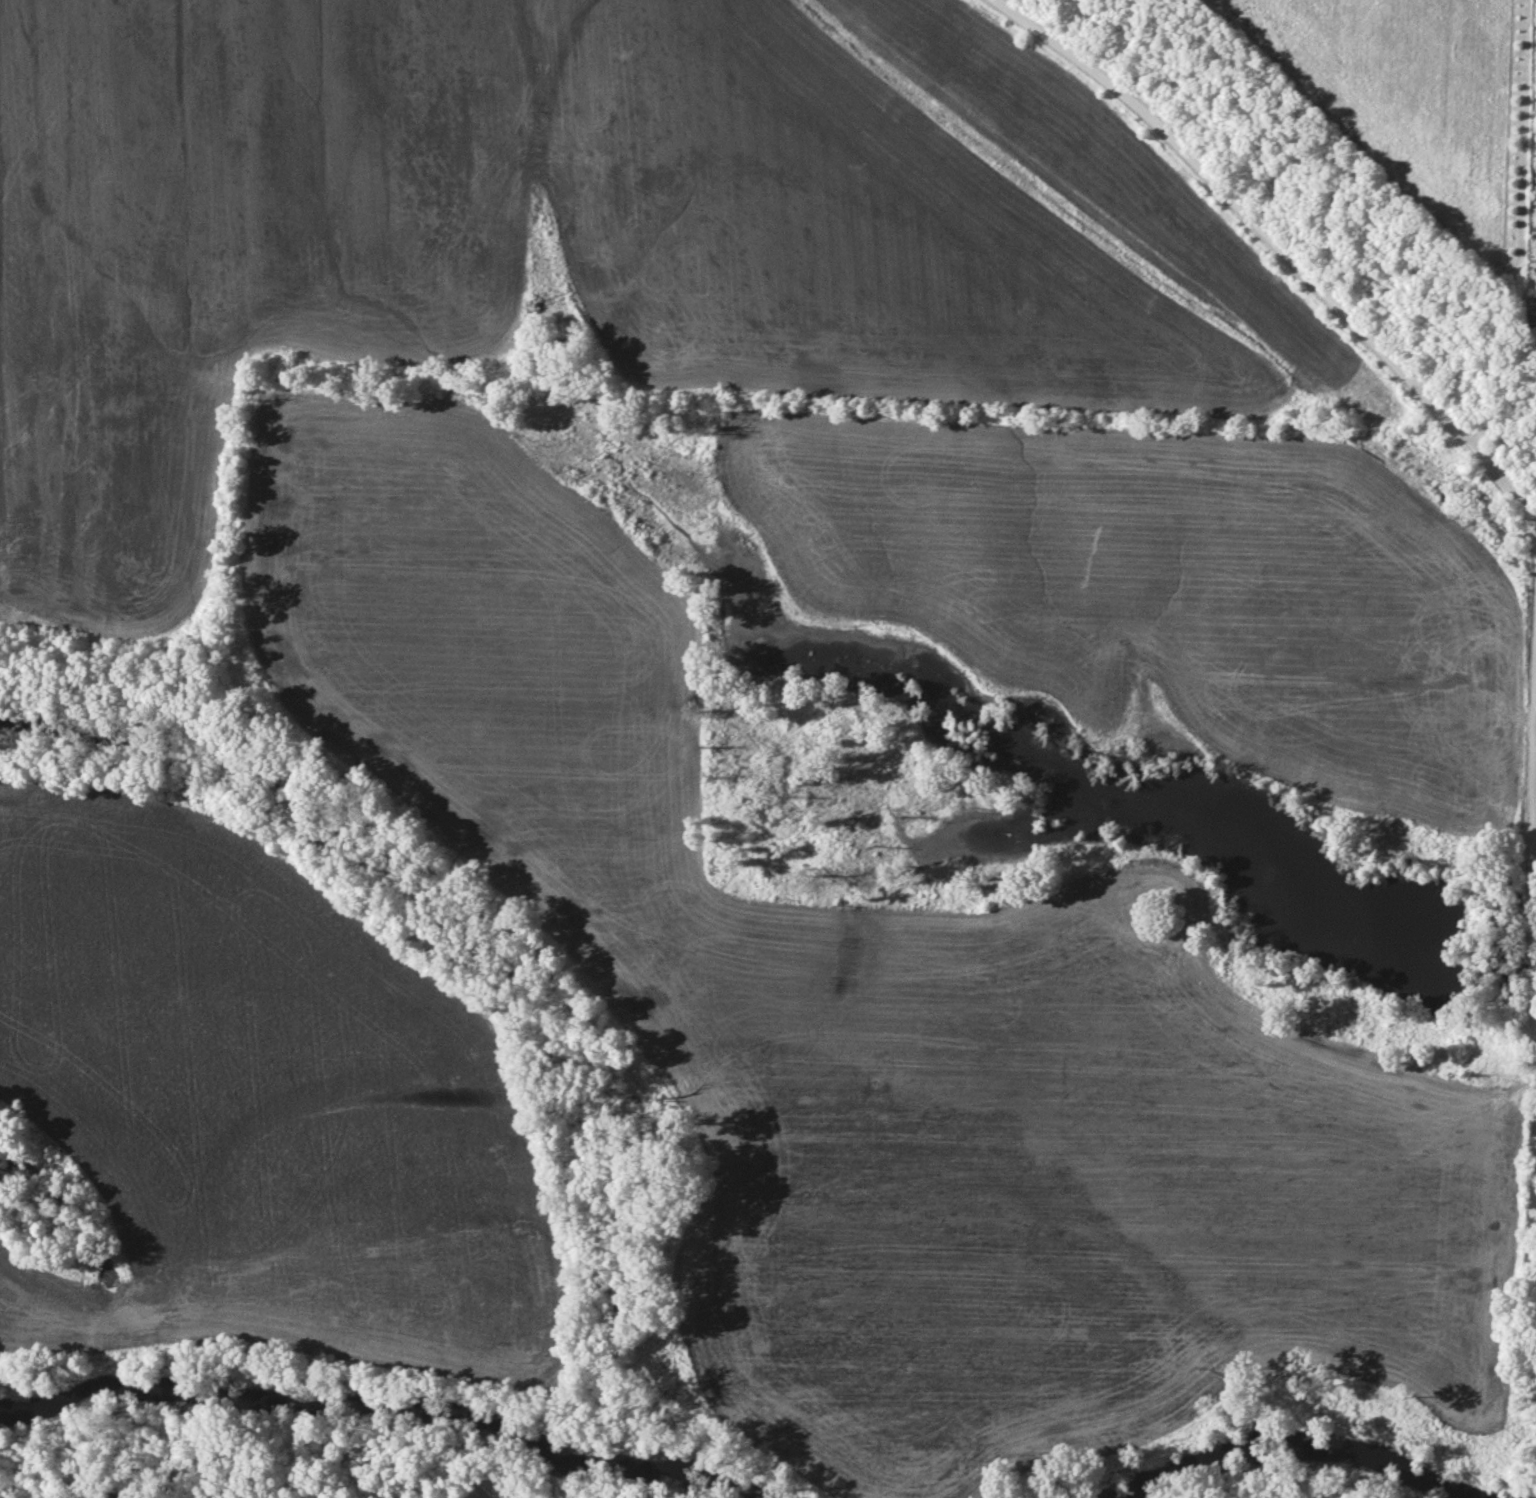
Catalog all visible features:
road: (1275, 251)
building: (1533, 313)
road: (1499, 440)
road: (1534, 858)
river: (386, 1407)
river: (1296, 1448)

